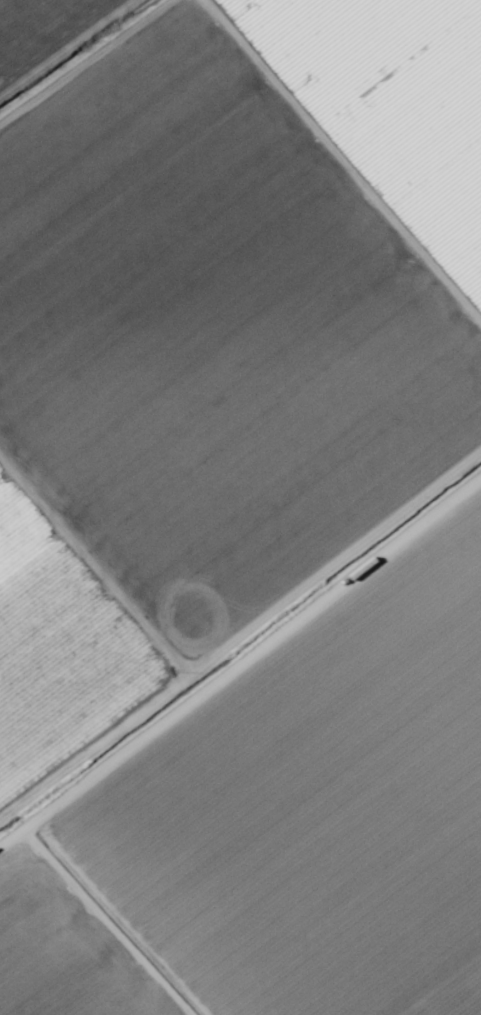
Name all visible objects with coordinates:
crop: (240, 507)
road: (240, 636)

